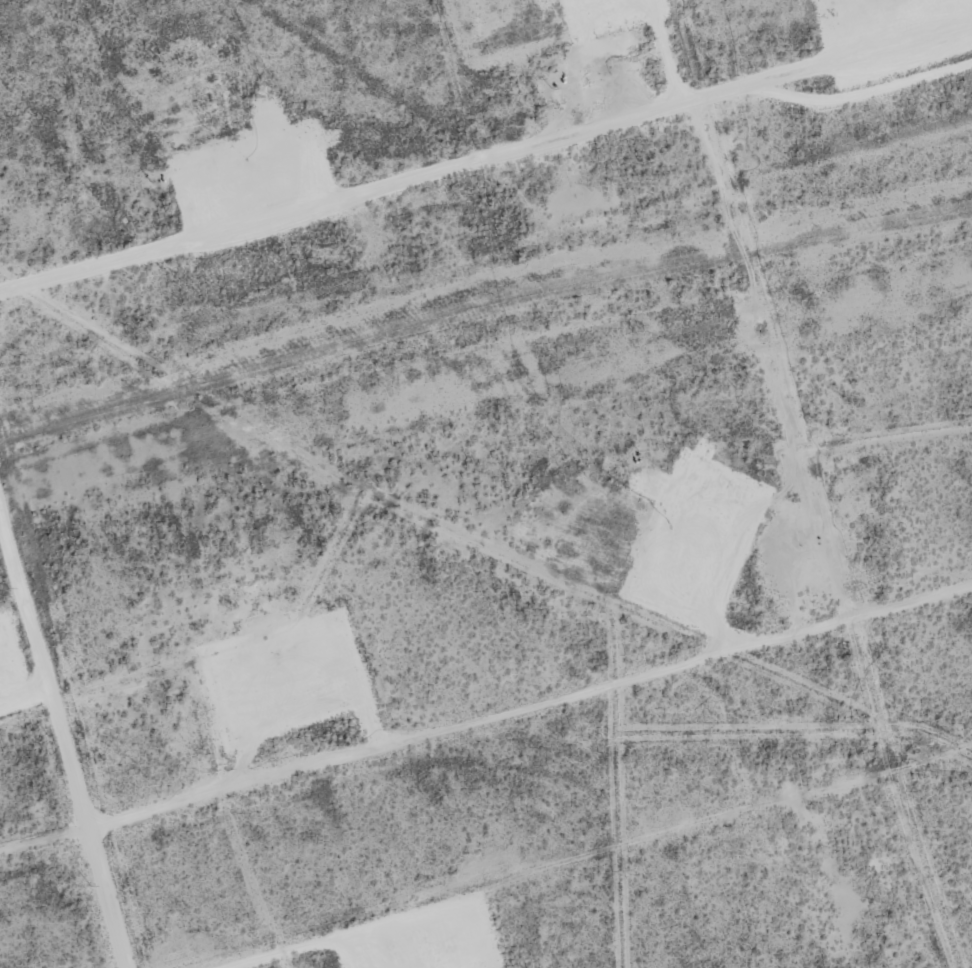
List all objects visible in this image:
road: (486, 140)
road: (508, 720)
road: (37, 831)

